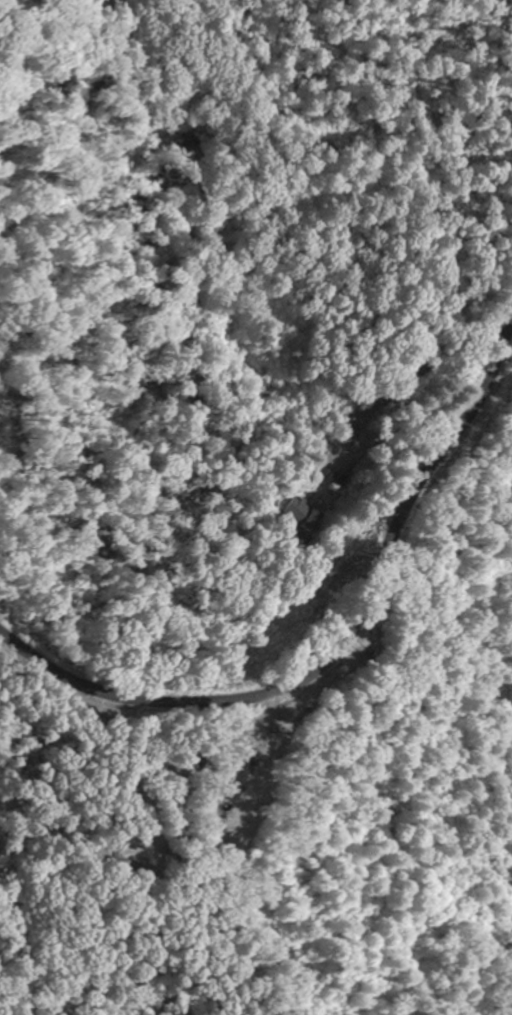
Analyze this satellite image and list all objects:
building: (330, 463)
road: (341, 646)

